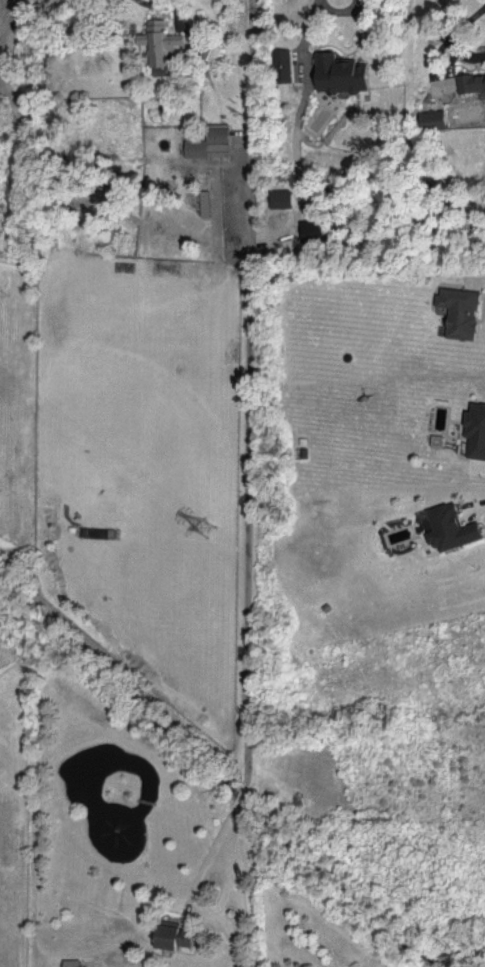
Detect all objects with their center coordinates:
road: (483, 21)
road: (306, 32)
building: (159, 41)
building: (284, 67)
building: (340, 72)
building: (470, 81)
building: (433, 117)
building: (210, 144)
building: (282, 201)
building: (205, 203)
building: (459, 311)
road: (247, 424)
building: (475, 429)
building: (451, 526)
power tower: (205, 529)
road: (227, 906)
building: (171, 933)
building: (72, 963)

